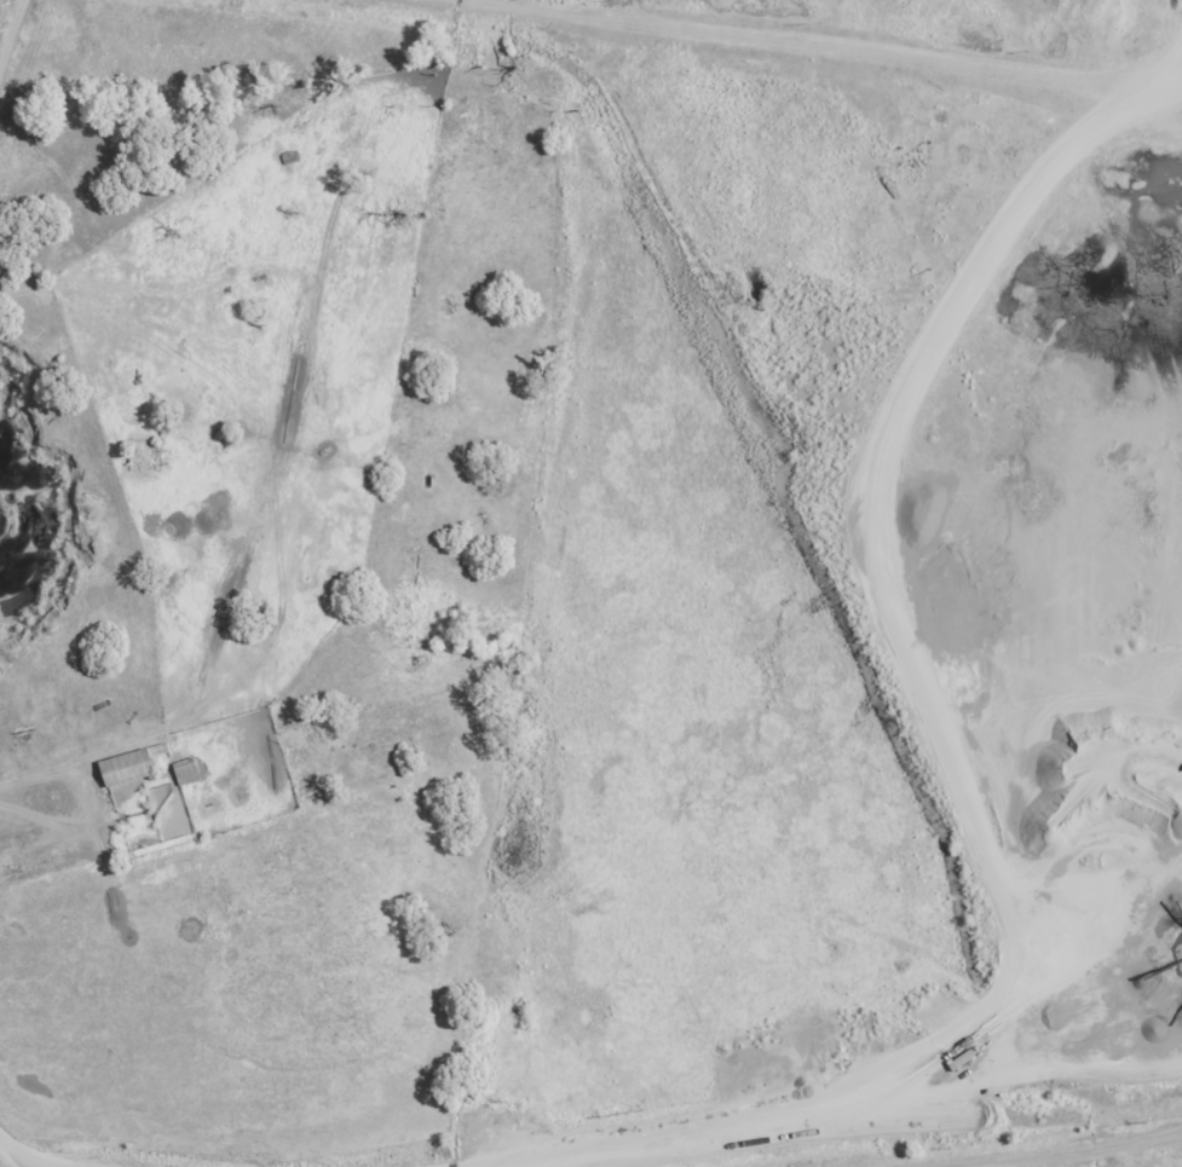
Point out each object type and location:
road: (10, 30)
building: (1, 672)
building: (132, 767)
building: (188, 773)
road: (1048, 1140)
road: (18, 1148)

